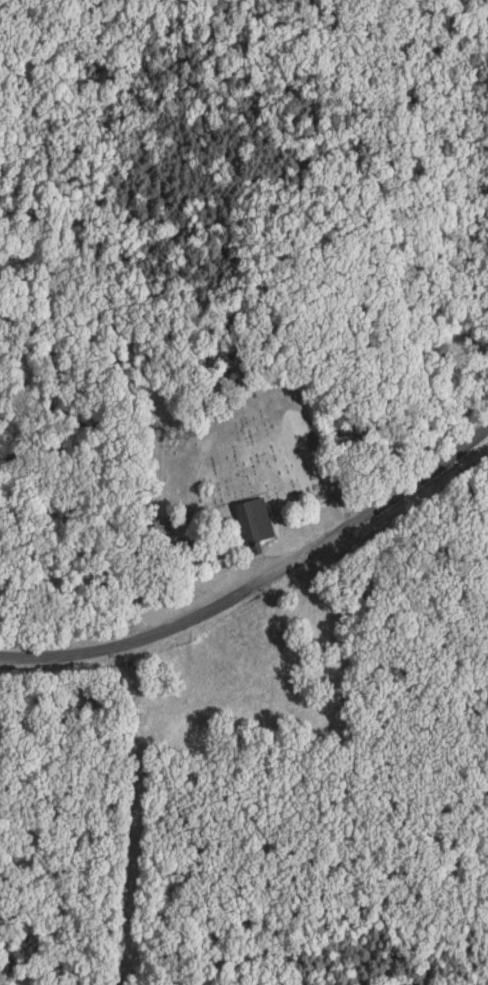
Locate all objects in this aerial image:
park: (220, 440)
building: (257, 522)
road: (259, 584)

